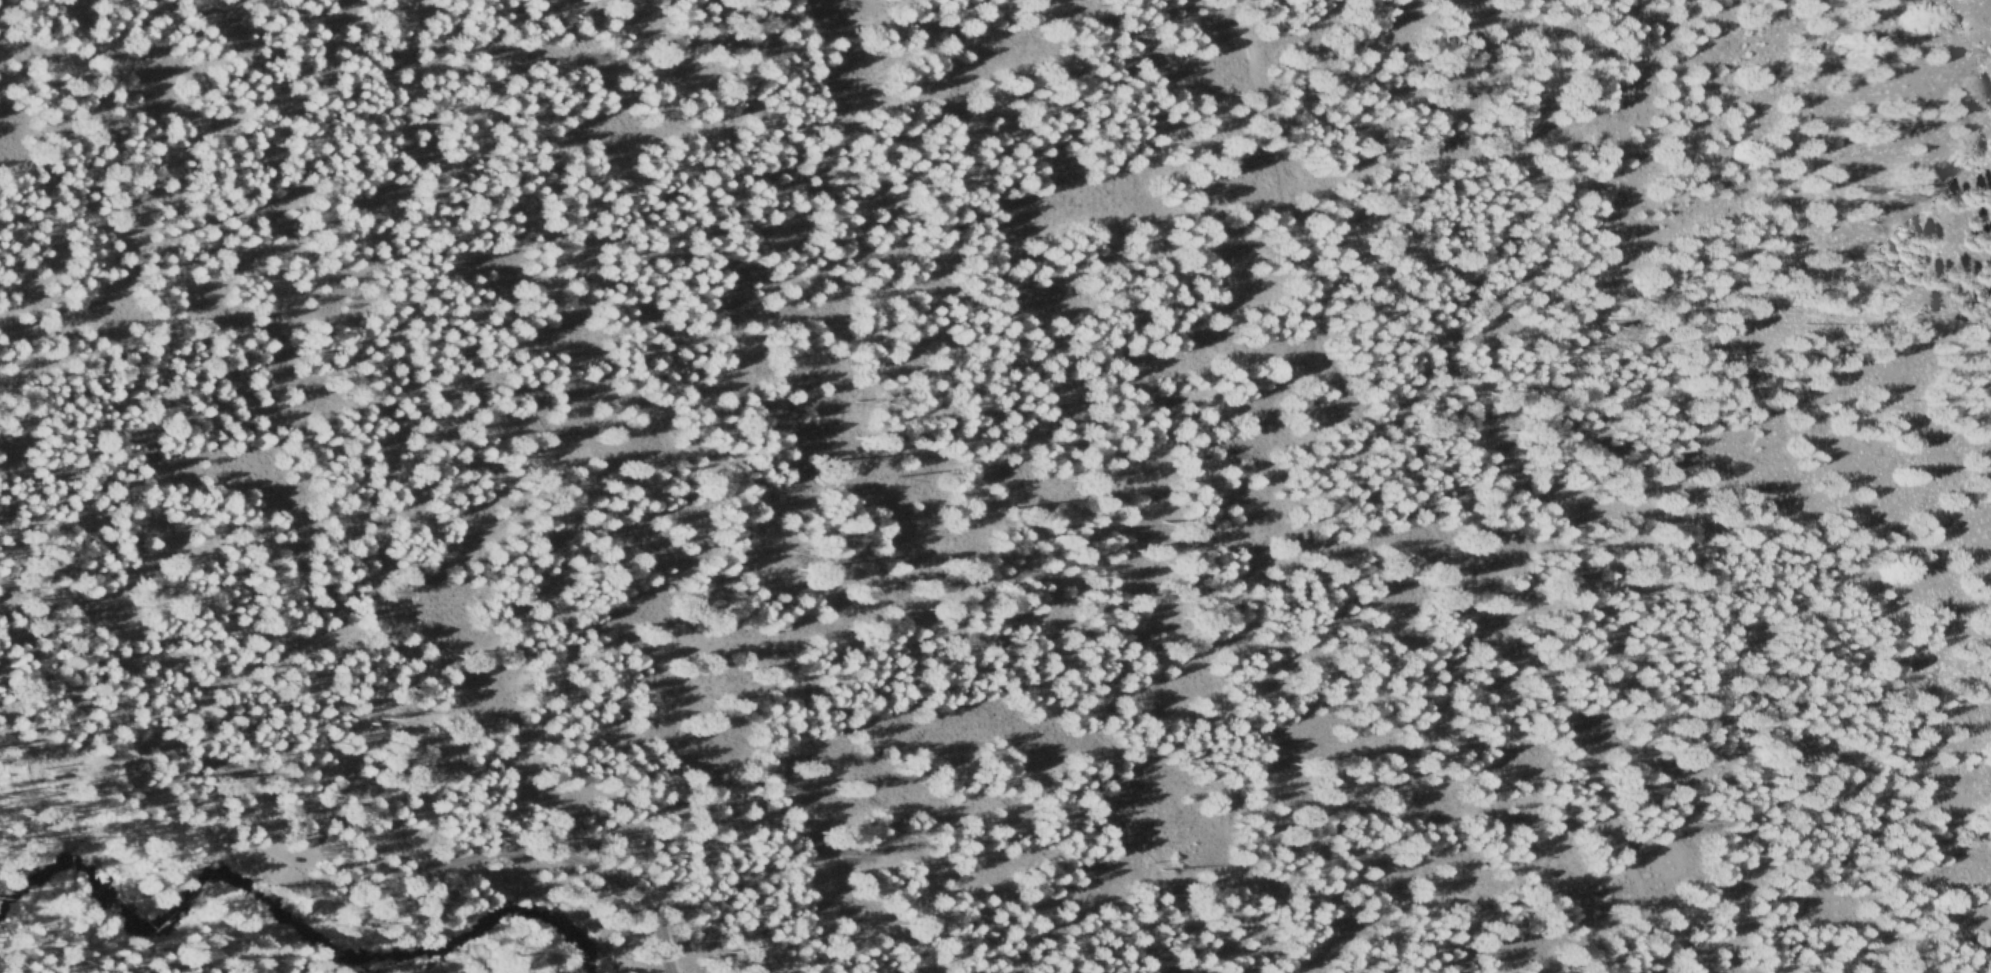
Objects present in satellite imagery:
road: (1425, 506)
road: (323, 820)

